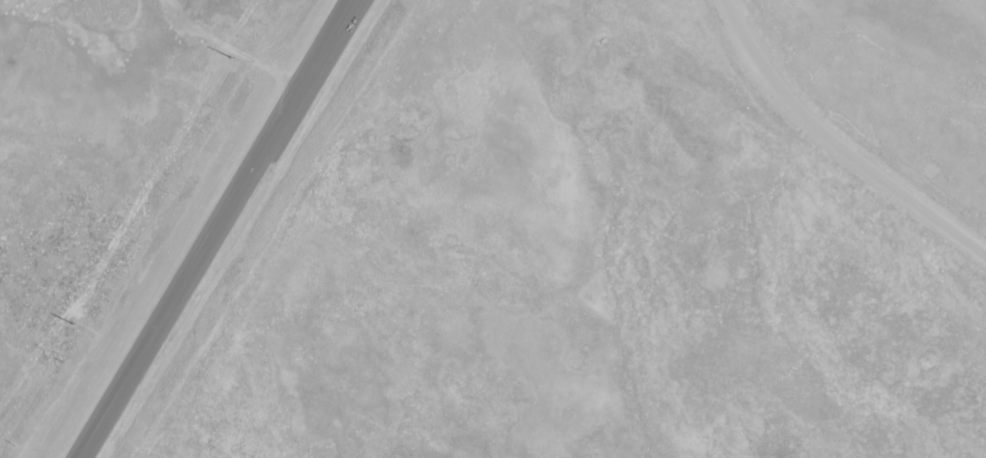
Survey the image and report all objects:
power tower: (231, 59)
park: (902, 76)
road: (836, 141)
park: (93, 157)
road: (217, 228)
park: (589, 270)
power tower: (71, 324)

